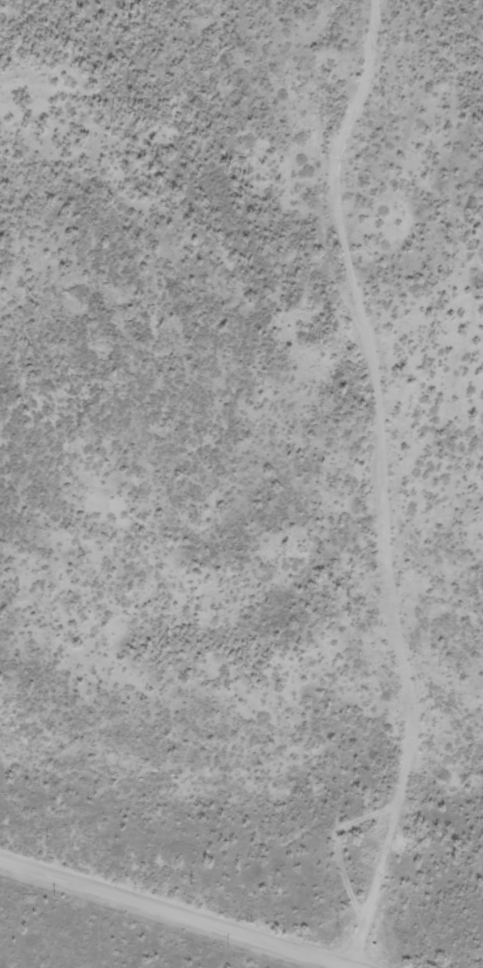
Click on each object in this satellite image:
road: (408, 40)
road: (429, 324)
road: (380, 477)
road: (180, 913)

